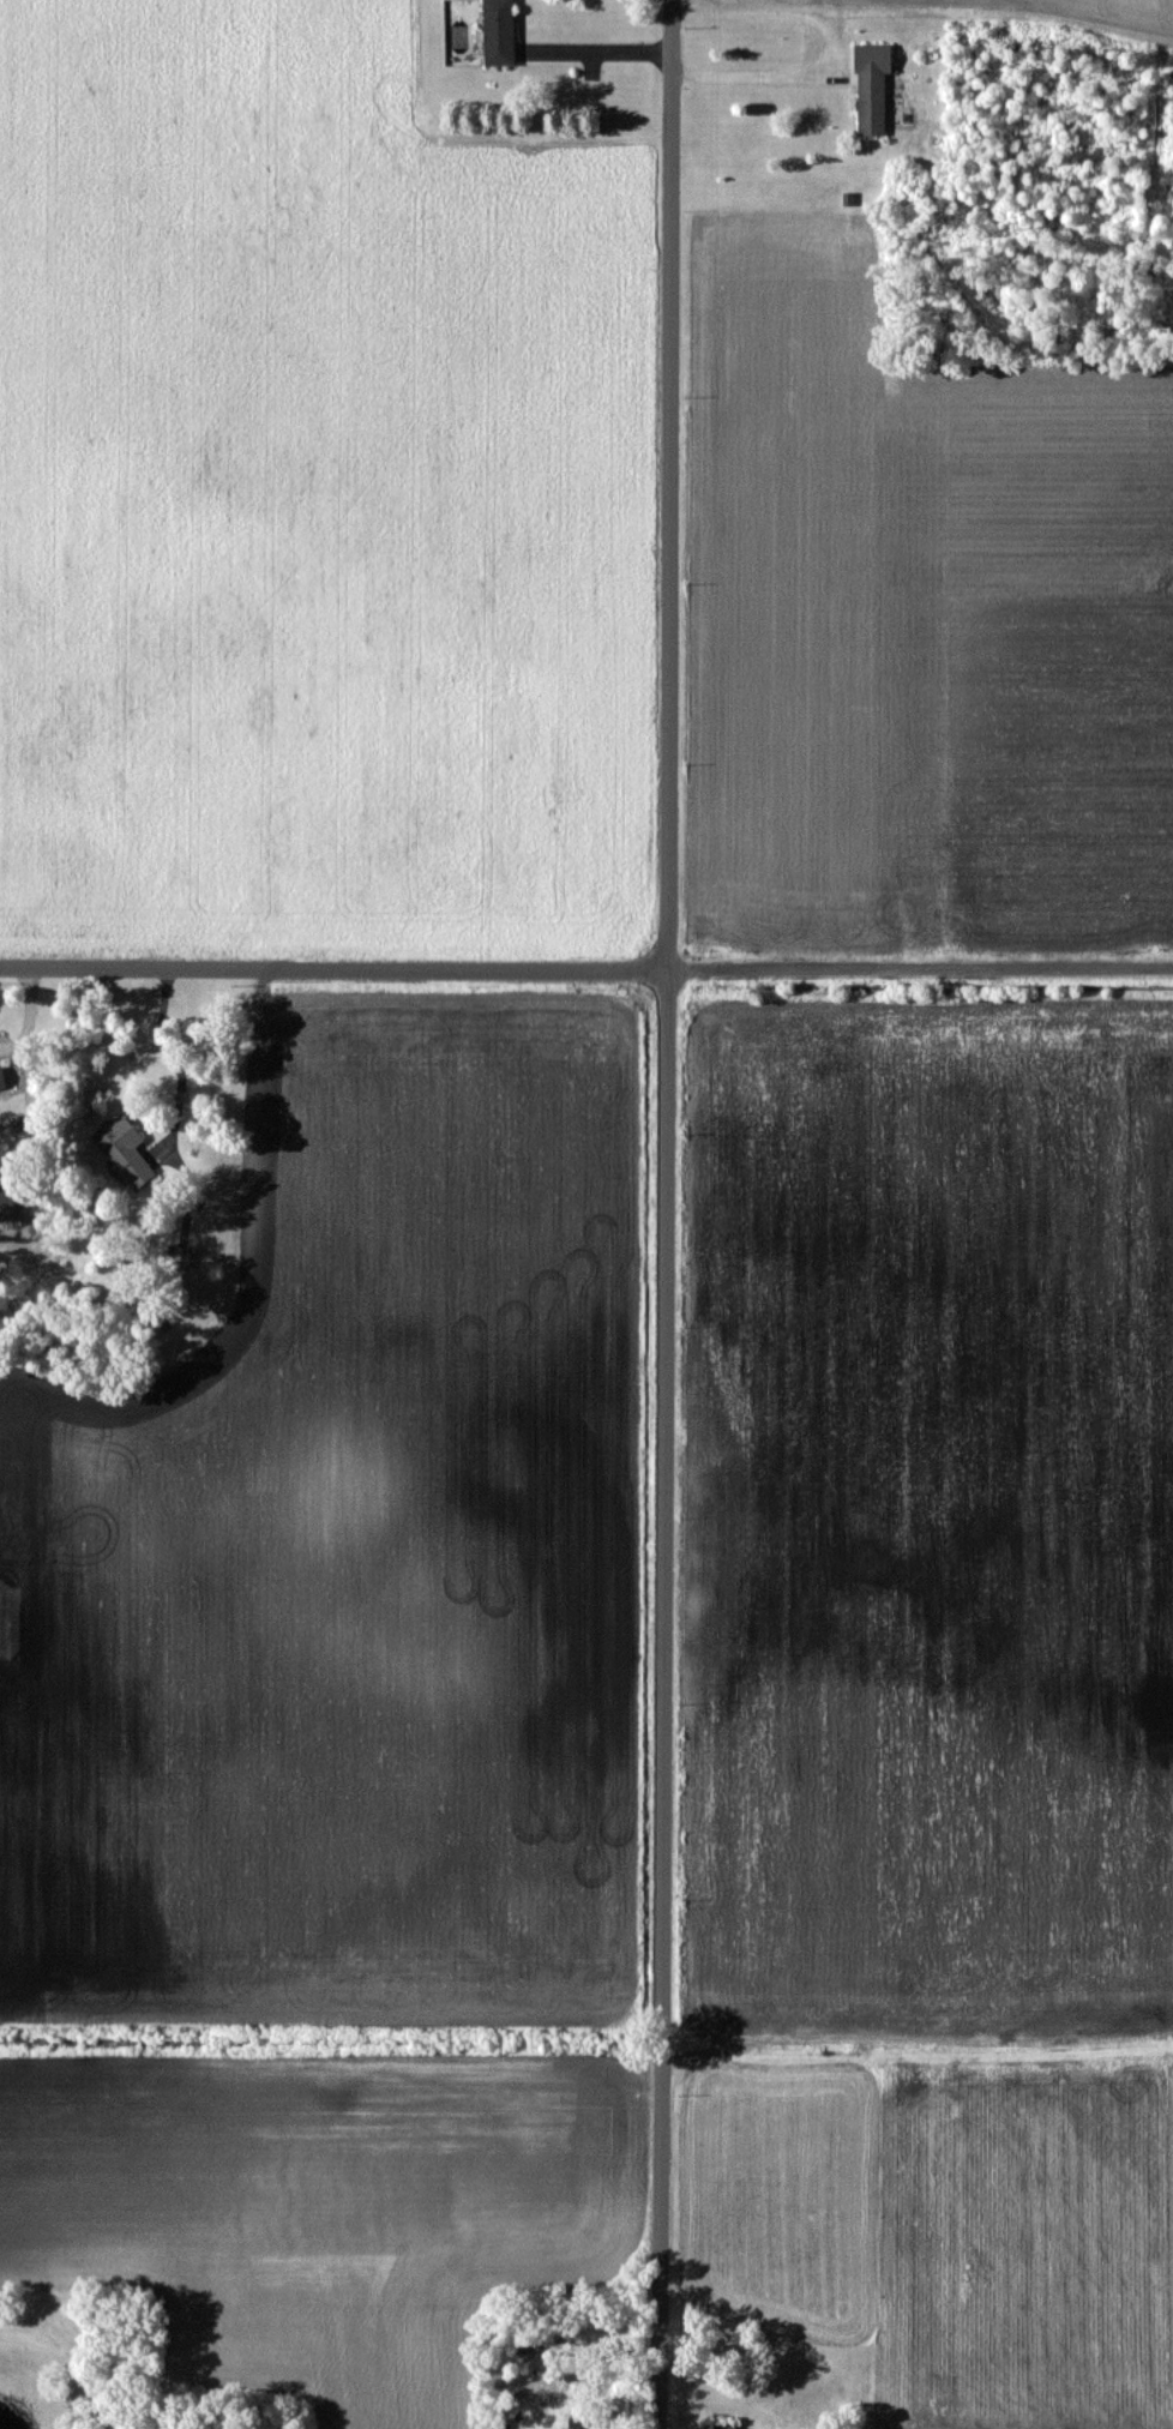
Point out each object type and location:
building: (499, 32)
road: (832, 44)
road: (597, 50)
building: (872, 88)
road: (585, 967)
building: (2, 1078)
building: (125, 1150)
road: (663, 1214)
building: (720, 2428)

